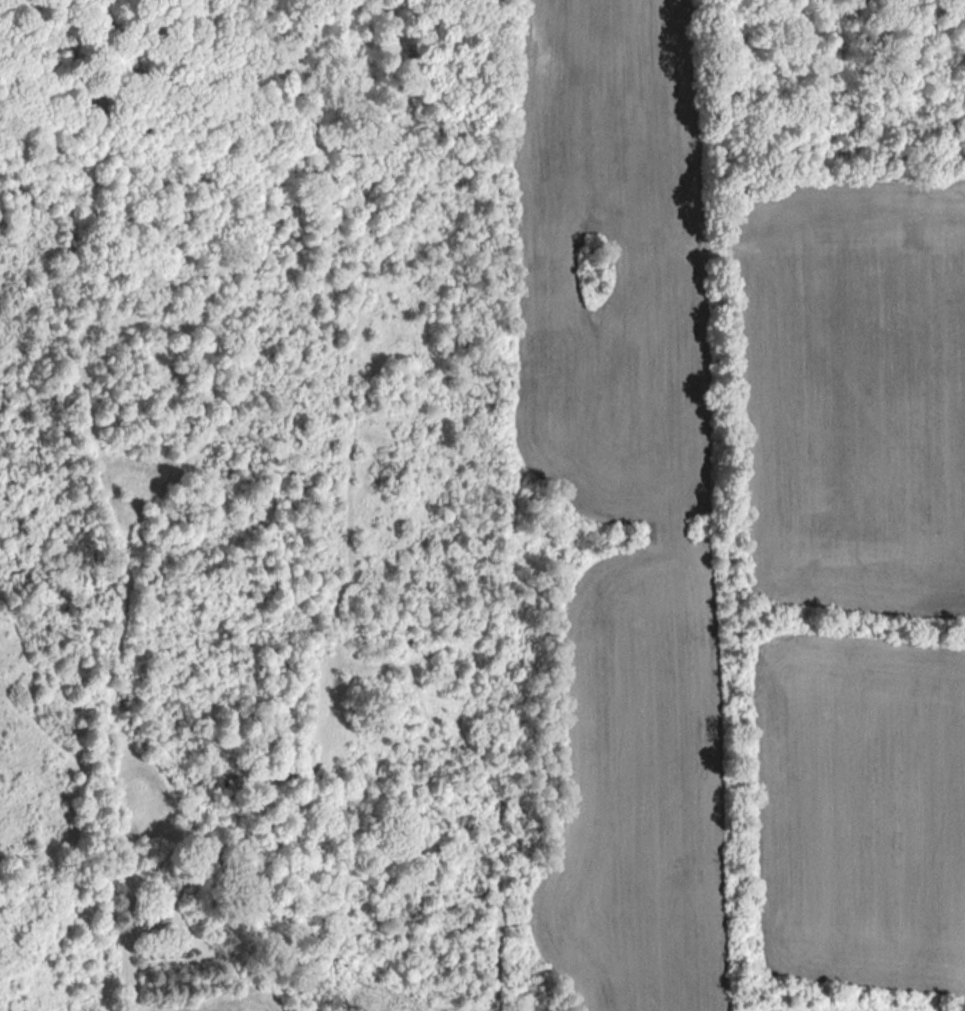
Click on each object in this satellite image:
crop: (854, 393)
crop: (626, 494)
crop: (861, 814)

